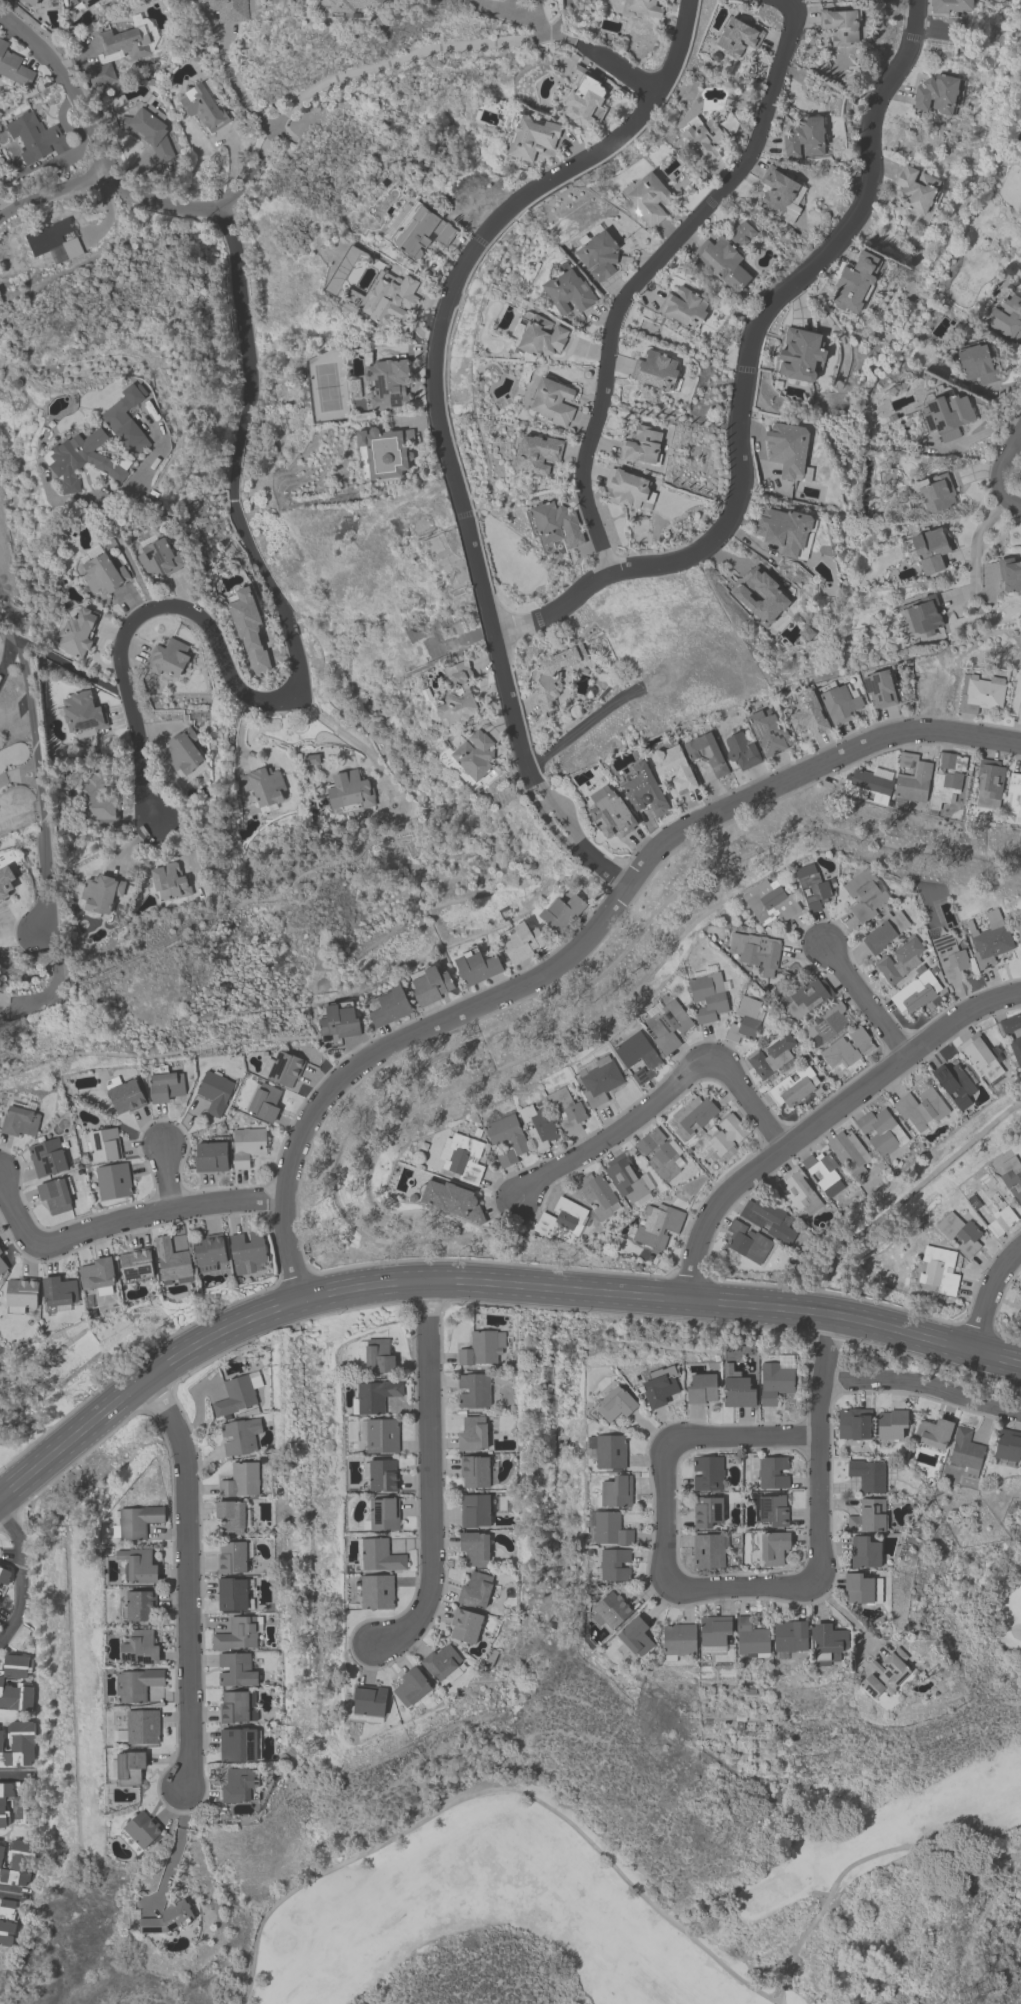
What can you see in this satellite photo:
building: (29, 0)
building: (667, 1)
building: (30, 2)
building: (87, 2)
building: (359, 5)
building: (949, 5)
building: (643, 7)
building: (228, 9)
road: (509, 10)
building: (840, 24)
building: (738, 35)
building: (124, 41)
road: (677, 48)
road: (400, 57)
building: (13, 66)
road: (618, 67)
road: (65, 82)
road: (240, 87)
building: (938, 93)
building: (585, 96)
building: (203, 106)
building: (148, 129)
building: (707, 134)
building: (530, 135)
building: (34, 136)
building: (804, 136)
road: (252, 168)
building: (915, 188)
road: (51, 191)
building: (781, 192)
building: (647, 197)
road: (6, 204)
building: (420, 229)
building: (741, 232)
building: (54, 240)
building: (597, 253)
building: (723, 262)
road: (645, 270)
building: (855, 281)
building: (567, 291)
building: (390, 298)
building: (683, 306)
building: (1007, 317)
building: (540, 335)
building: (800, 353)
building: (977, 363)
building: (655, 370)
road: (746, 370)
building: (388, 383)
road: (1012, 383)
road: (248, 393)
building: (552, 400)
building: (947, 415)
building: (126, 418)
road: (980, 433)
building: (641, 446)
building: (786, 447)
building: (382, 452)
building: (536, 453)
building: (82, 459)
road: (450, 465)
road: (997, 467)
road: (135, 476)
building: (628, 489)
building: (936, 492)
building: (556, 523)
building: (786, 530)
building: (930, 548)
road: (975, 554)
building: (159, 558)
road: (130, 560)
building: (103, 573)
building: (1009, 573)
building: (760, 594)
road: (138, 612)
building: (921, 615)
building: (247, 627)
building: (77, 631)
building: (440, 639)
road: (5, 654)
building: (167, 657)
building: (554, 674)
building: (878, 688)
building: (982, 693)
building: (457, 695)
building: (838, 702)
building: (82, 711)
building: (808, 715)
road: (580, 727)
building: (768, 732)
road: (354, 746)
building: (741, 750)
building: (706, 752)
building: (183, 754)
building: (470, 759)
building: (673, 767)
road: (809, 769)
road: (18, 775)
building: (946, 777)
road: (38, 778)
building: (988, 783)
building: (866, 785)
building: (264, 786)
building: (644, 789)
building: (349, 791)
building: (1014, 795)
building: (98, 801)
building: (611, 814)
building: (169, 880)
building: (5, 881)
building: (812, 887)
building: (864, 893)
building: (98, 894)
building: (769, 901)
building: (561, 910)
building: (1020, 925)
building: (884, 930)
road: (18, 931)
building: (1018, 938)
building: (520, 940)
building: (988, 940)
building: (755, 950)
building: (1020, 955)
building: (950, 958)
building: (899, 959)
building: (475, 965)
road: (56, 975)
building: (429, 984)
building: (914, 993)
building: (707, 995)
building: (807, 996)
road: (868, 1002)
building: (388, 1006)
building: (337, 1019)
building: (744, 1020)
road: (962, 1020)
building: (825, 1022)
building: (667, 1025)
building: (1011, 1036)
road: (386, 1045)
building: (847, 1047)
building: (770, 1054)
building: (637, 1055)
building: (979, 1056)
building: (281, 1067)
building: (599, 1080)
building: (954, 1083)
building: (164, 1084)
building: (793, 1085)
building: (214, 1091)
building: (124, 1093)
road: (668, 1096)
building: (264, 1101)
building: (920, 1107)
building: (567, 1110)
building: (692, 1115)
building: (19, 1120)
building: (538, 1126)
building: (881, 1131)
building: (505, 1136)
building: (719, 1136)
building: (101, 1143)
building: (247, 1144)
building: (850, 1152)
building: (657, 1153)
building: (210, 1156)
building: (47, 1157)
building: (462, 1157)
road: (773, 1160)
building: (823, 1172)
road: (165, 1177)
building: (1011, 1177)
building: (625, 1178)
building: (112, 1180)
building: (798, 1190)
building: (597, 1194)
building: (54, 1195)
building: (451, 1200)
building: (989, 1208)
building: (767, 1219)
building: (561, 1220)
road: (121, 1221)
building: (656, 1224)
building: (959, 1232)
building: (748, 1242)
building: (0, 1250)
building: (208, 1251)
building: (246, 1251)
building: (171, 1261)
building: (136, 1264)
building: (2, 1266)
building: (938, 1269)
building: (97, 1275)
road: (480, 1282)
building: (57, 1291)
building: (20, 1293)
road: (989, 1297)
building: (481, 1347)
building: (378, 1355)
road: (821, 1374)
building: (774, 1381)
building: (660, 1384)
road: (922, 1387)
building: (701, 1388)
building: (473, 1390)
building: (738, 1391)
building: (375, 1394)
building: (234, 1395)
building: (614, 1401)
building: (854, 1422)
building: (890, 1423)
building: (933, 1432)
building: (472, 1433)
building: (240, 1434)
building: (381, 1435)
road: (667, 1437)
building: (1007, 1445)
building: (608, 1450)
building: (965, 1452)
building: (474, 1470)
building: (771, 1471)
building: (706, 1472)
road: (428, 1473)
building: (382, 1474)
building: (866, 1474)
building: (240, 1479)
building: (615, 1491)
building: (769, 1508)
building: (474, 1510)
building: (707, 1512)
building: (383, 1513)
building: (230, 1516)
building: (868, 1516)
building: (137, 1520)
building: (607, 1527)
building: (474, 1547)
building: (773, 1547)
building: (707, 1550)
building: (864, 1552)
building: (378, 1554)
building: (231, 1556)
building: (138, 1564)
building: (613, 1564)
building: (4, 1575)
road: (18, 1576)
road: (187, 1576)
building: (861, 1588)
building: (475, 1589)
building: (375, 1590)
building: (232, 1593)
park: (994, 1599)
building: (138, 1605)
building: (610, 1609)
road: (847, 1614)
building: (465, 1625)
building: (237, 1632)
building: (713, 1632)
building: (635, 1635)
building: (790, 1635)
building: (751, 1638)
building: (678, 1640)
building: (827, 1642)
building: (139, 1646)
building: (443, 1664)
building: (236, 1669)
building: (886, 1673)
building: (1, 1680)
building: (136, 1683)
building: (414, 1689)
building: (368, 1703)
building: (236, 1706)
building: (142, 1726)
building: (17, 1743)
building: (237, 1744)
building: (129, 1767)
road: (15, 1774)
building: (239, 1784)
building: (16, 1803)
building: (142, 1828)
building: (1, 1851)
building: (18, 1862)
road: (627, 1880)
road: (14, 1893)
park: (669, 1906)
building: (167, 1918)
building: (7, 1921)
power tower: (966, 1982)

